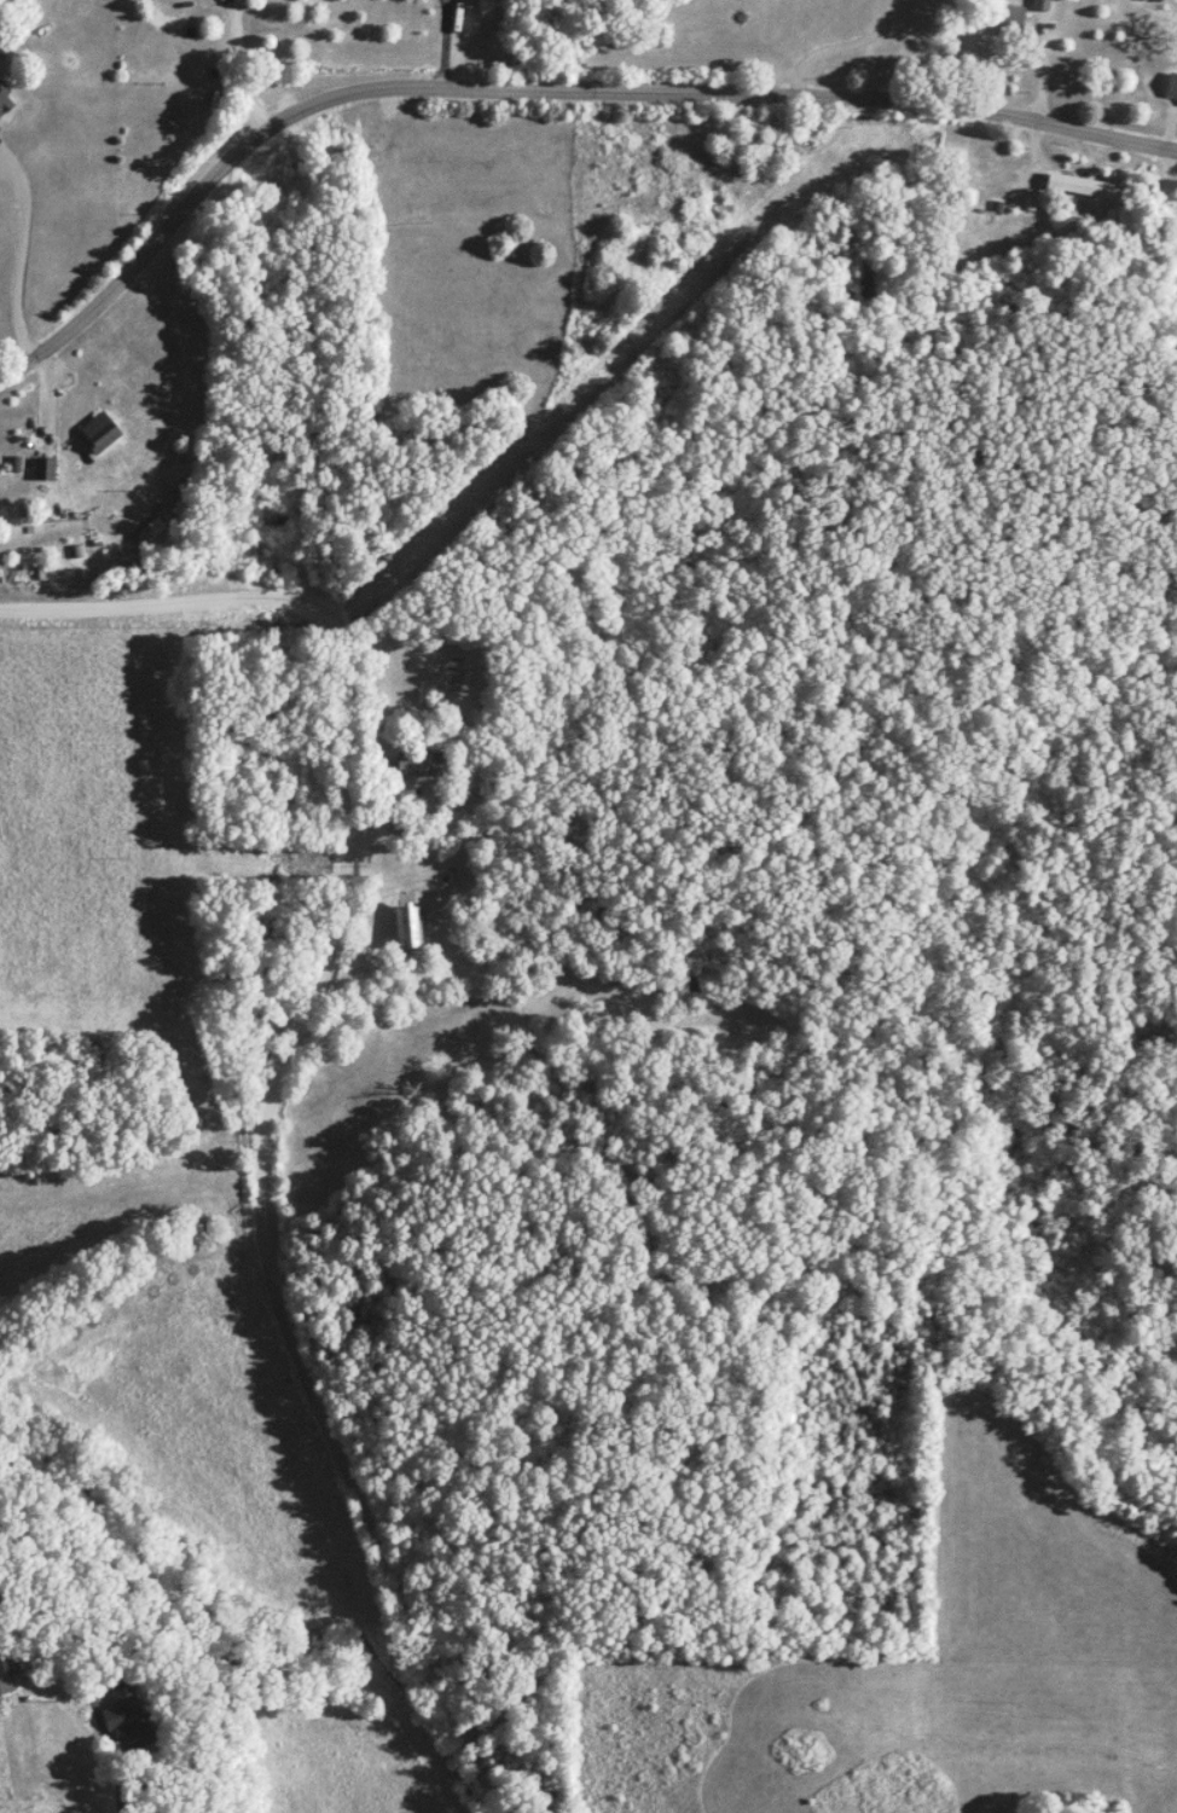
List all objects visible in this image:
road: (1031, 17)
building: (1013, 19)
road: (837, 45)
road: (234, 68)
building: (1172, 87)
road: (537, 92)
building: (6, 100)
road: (1164, 178)
building: (1082, 185)
road: (11, 303)
building: (102, 434)
building: (46, 469)
building: (152, 529)
building: (410, 928)
road: (283, 1047)
building: (6, 1673)
building: (135, 1714)
road: (123, 1805)

